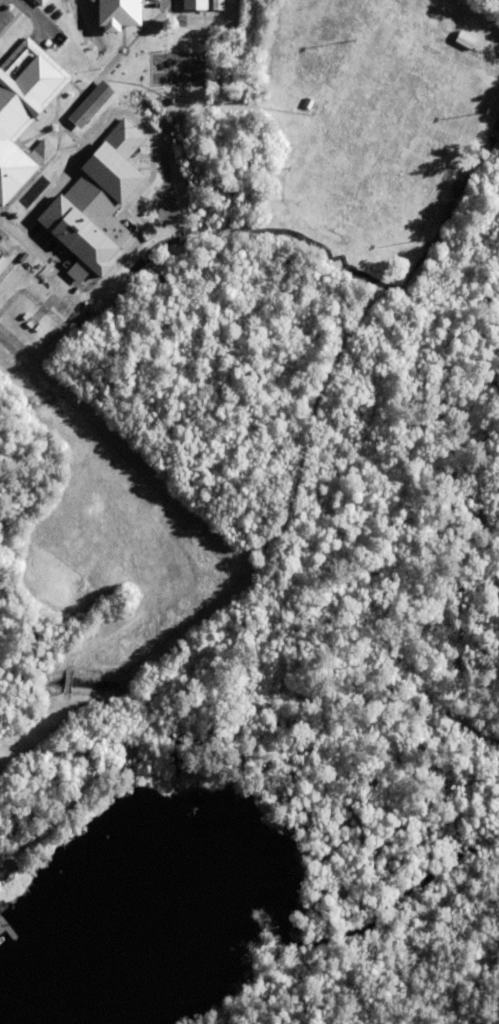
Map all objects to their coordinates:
building: (42, 2)
building: (189, 5)
building: (214, 5)
building: (116, 13)
road: (34, 15)
building: (88, 103)
building: (22, 105)
building: (94, 205)
road: (33, 249)
building: (0, 253)

